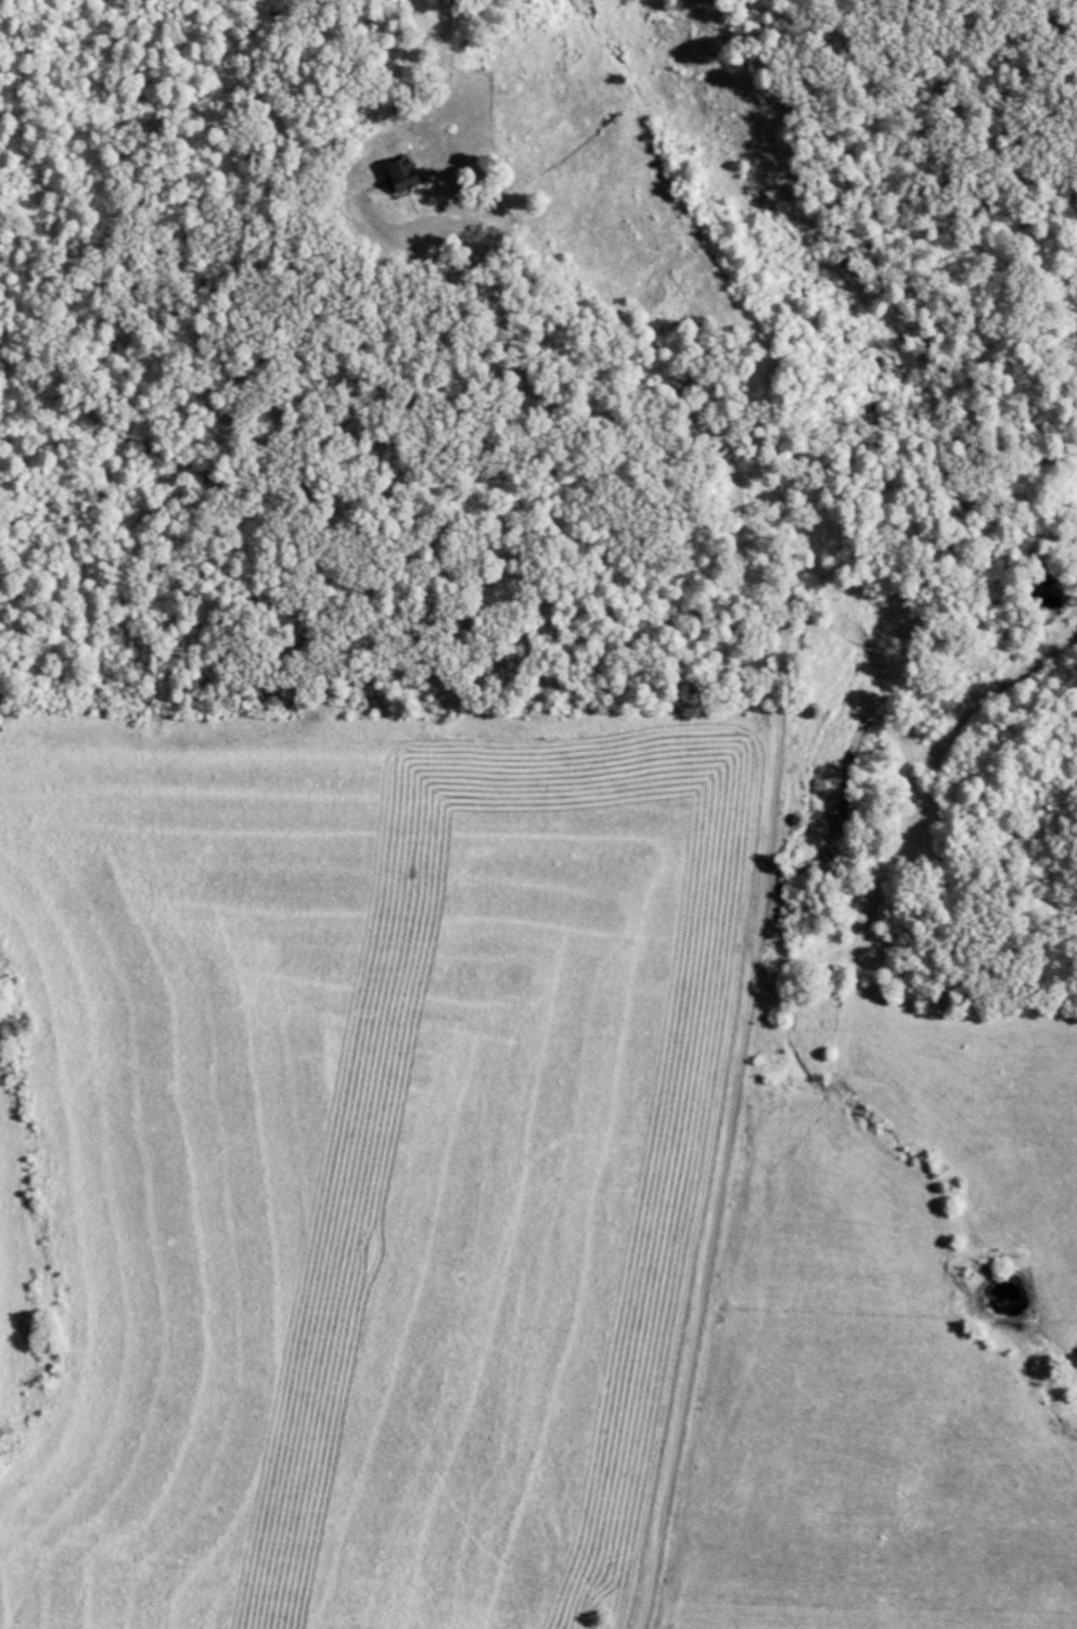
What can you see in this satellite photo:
road: (729, 1159)

